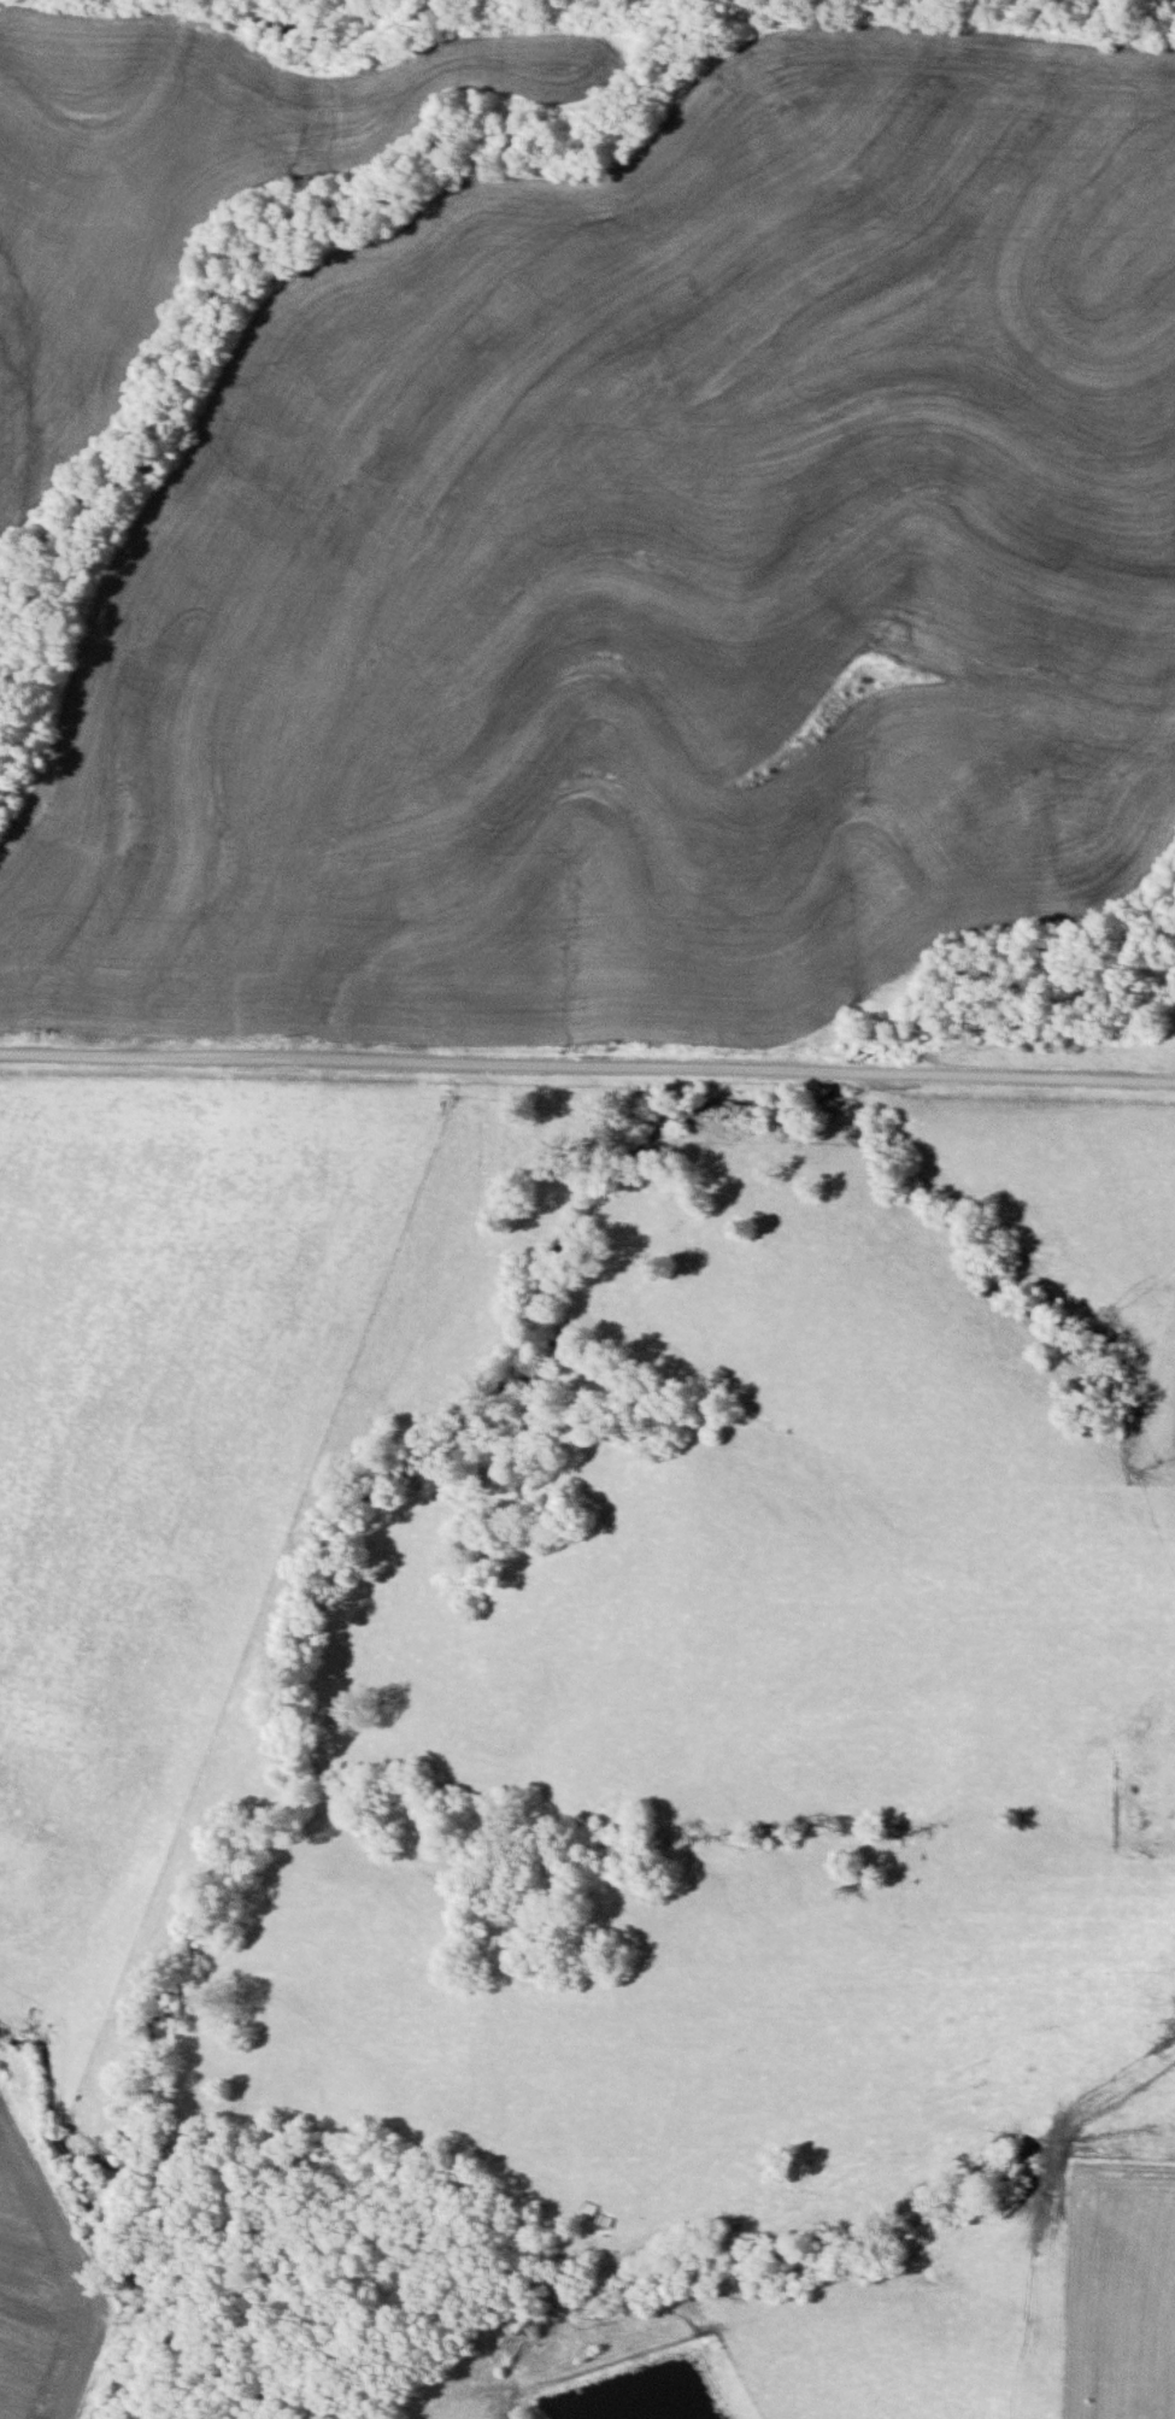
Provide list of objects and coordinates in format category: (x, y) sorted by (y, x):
road: (587, 1102)
crop: (42, 2296)

